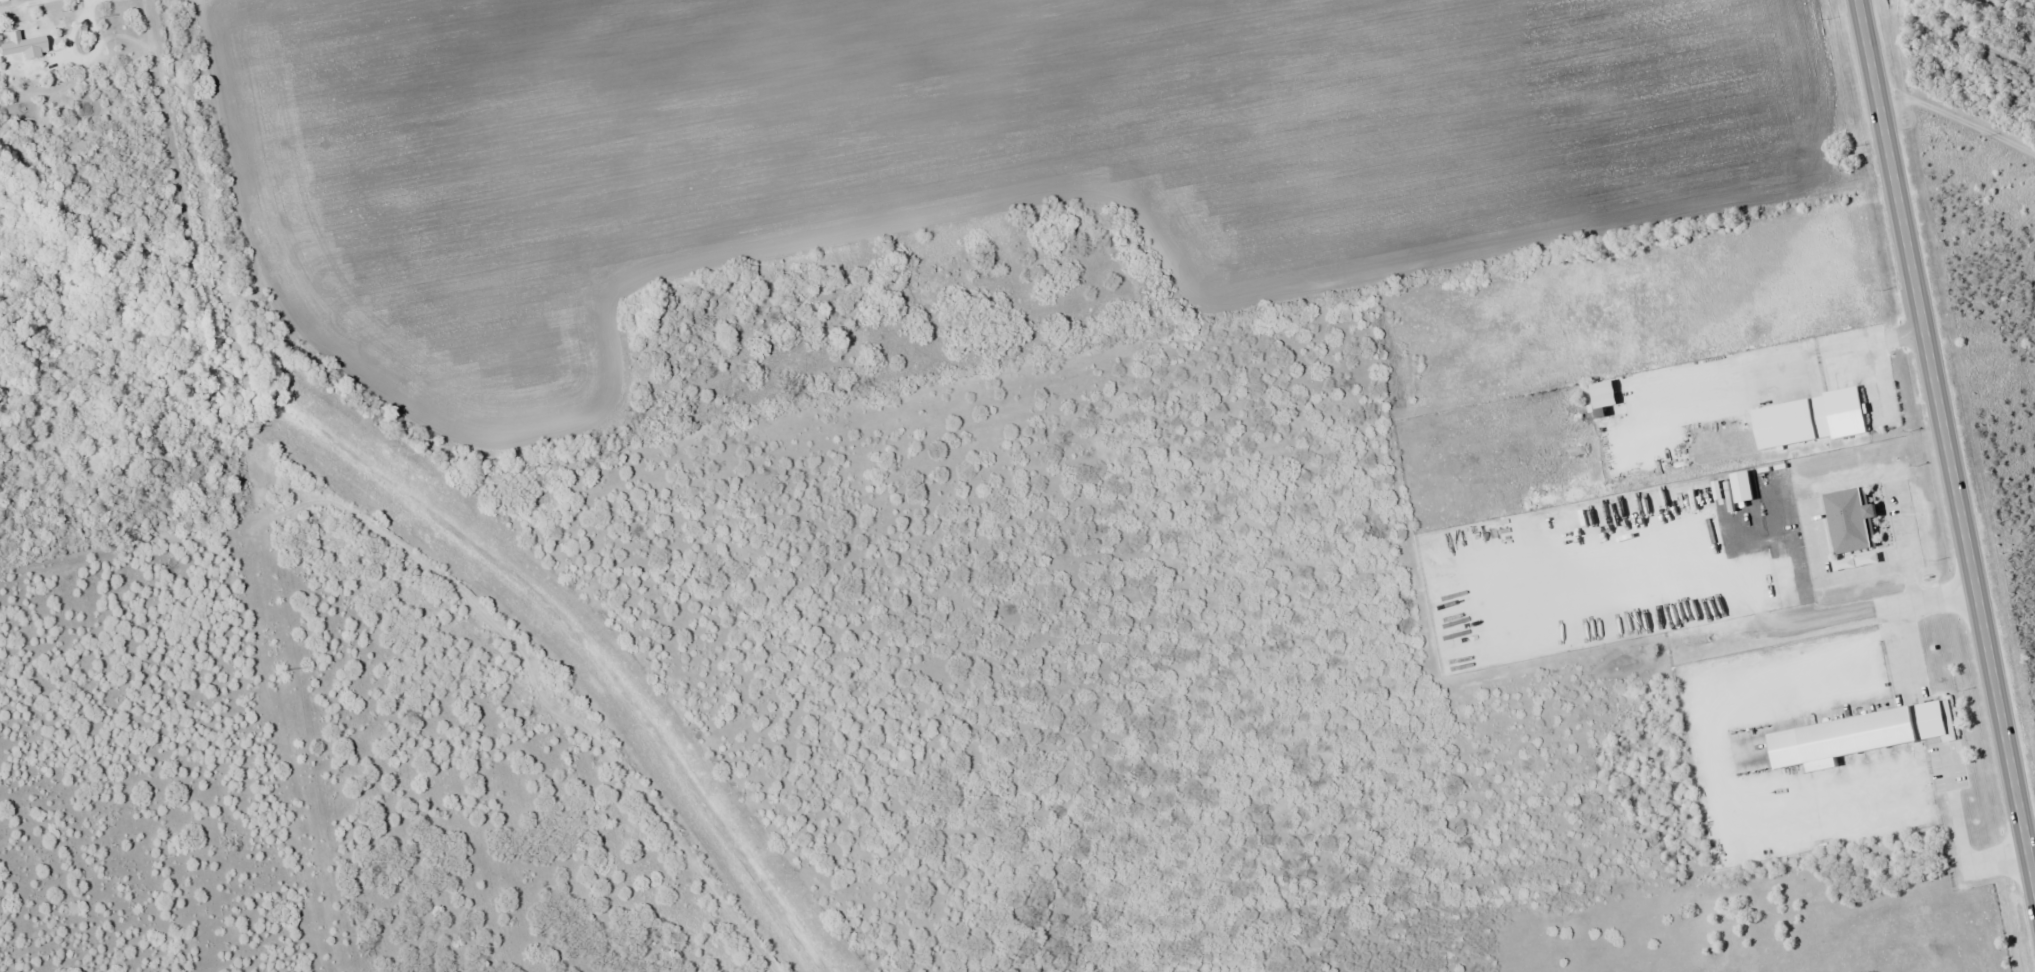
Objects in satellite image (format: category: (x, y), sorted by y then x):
building: (25, 46)
power tower: (233, 428)
road: (1946, 443)
power tower: (282, 670)

